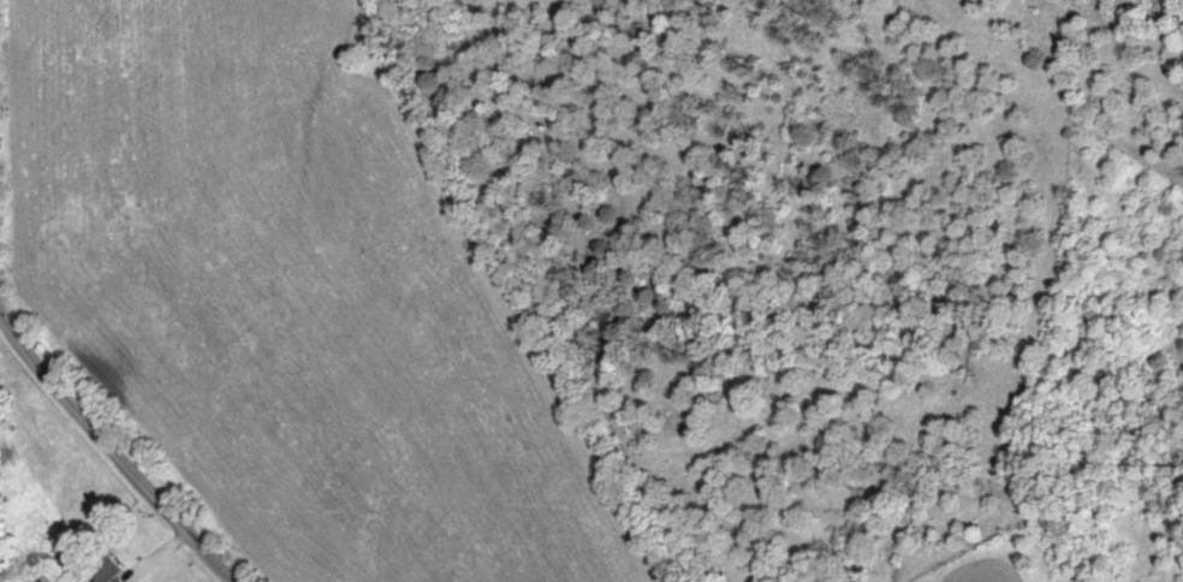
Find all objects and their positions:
road: (117, 449)
building: (113, 574)

